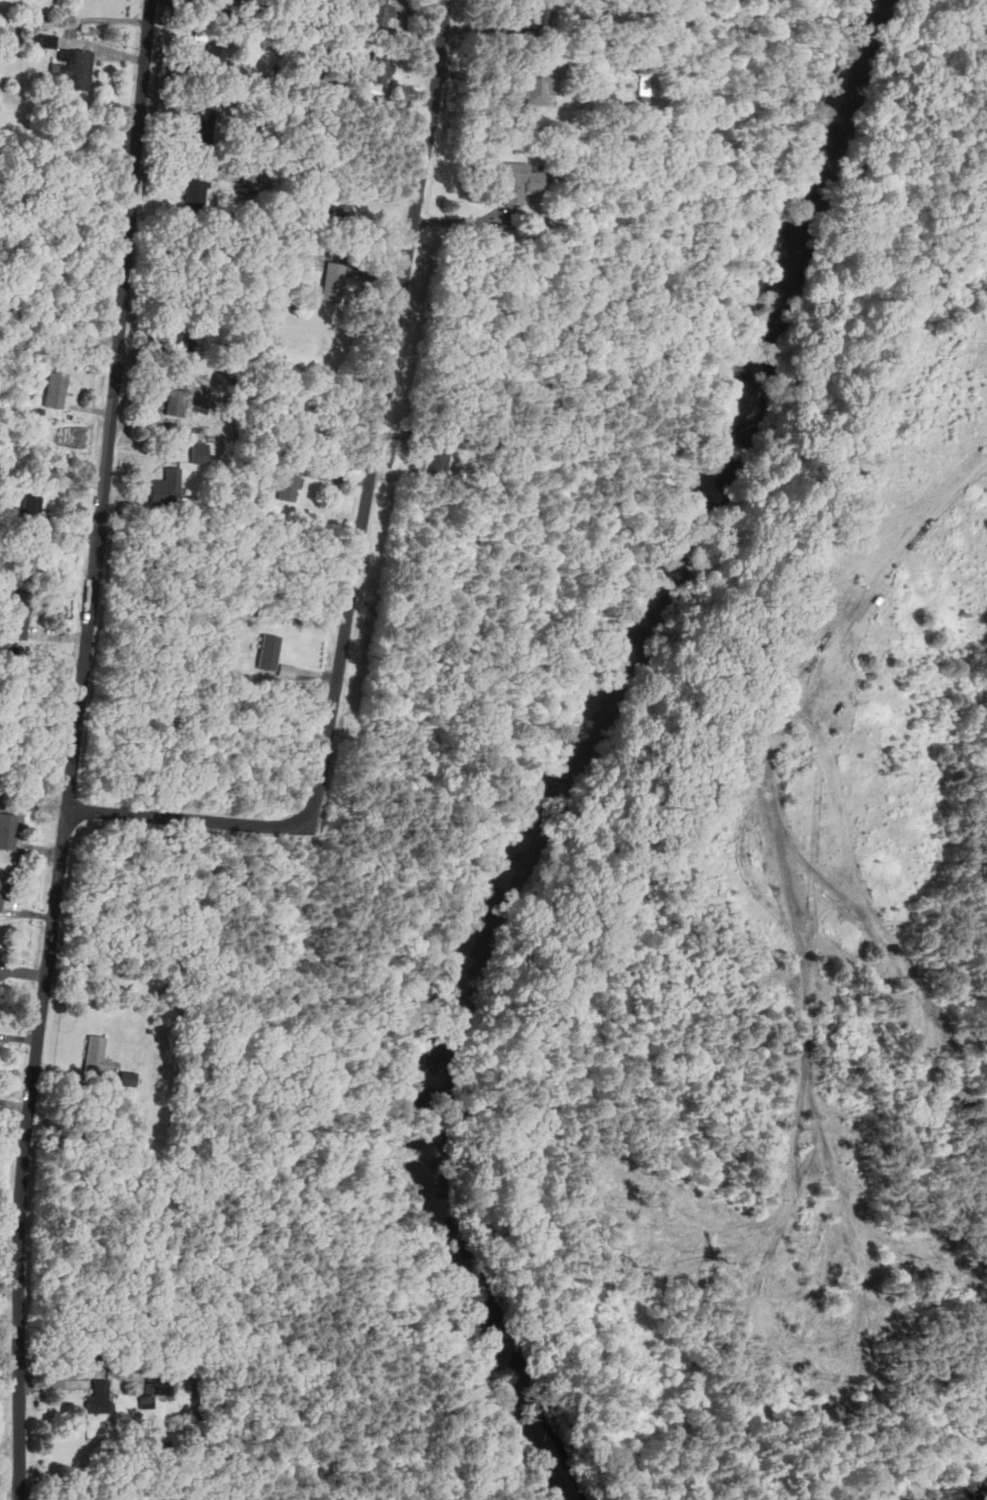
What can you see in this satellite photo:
building: (227, 0)
building: (541, 11)
building: (380, 12)
road: (67, 31)
building: (43, 41)
building: (212, 58)
building: (76, 68)
building: (380, 69)
building: (540, 83)
building: (202, 125)
road: (181, 172)
building: (246, 178)
building: (518, 181)
building: (196, 195)
building: (342, 211)
building: (335, 281)
building: (182, 338)
building: (57, 389)
building: (178, 402)
building: (199, 453)
building: (440, 455)
building: (290, 486)
building: (168, 487)
building: (32, 503)
road: (361, 529)
building: (18, 614)
building: (268, 653)
road: (765, 745)
road: (75, 749)
river: (591, 749)
road: (626, 755)
building: (7, 831)
building: (2, 889)
park: (774, 911)
building: (96, 1055)
building: (128, 1077)
building: (97, 1396)
building: (146, 1398)
road: (925, 1468)
river: (977, 1495)

